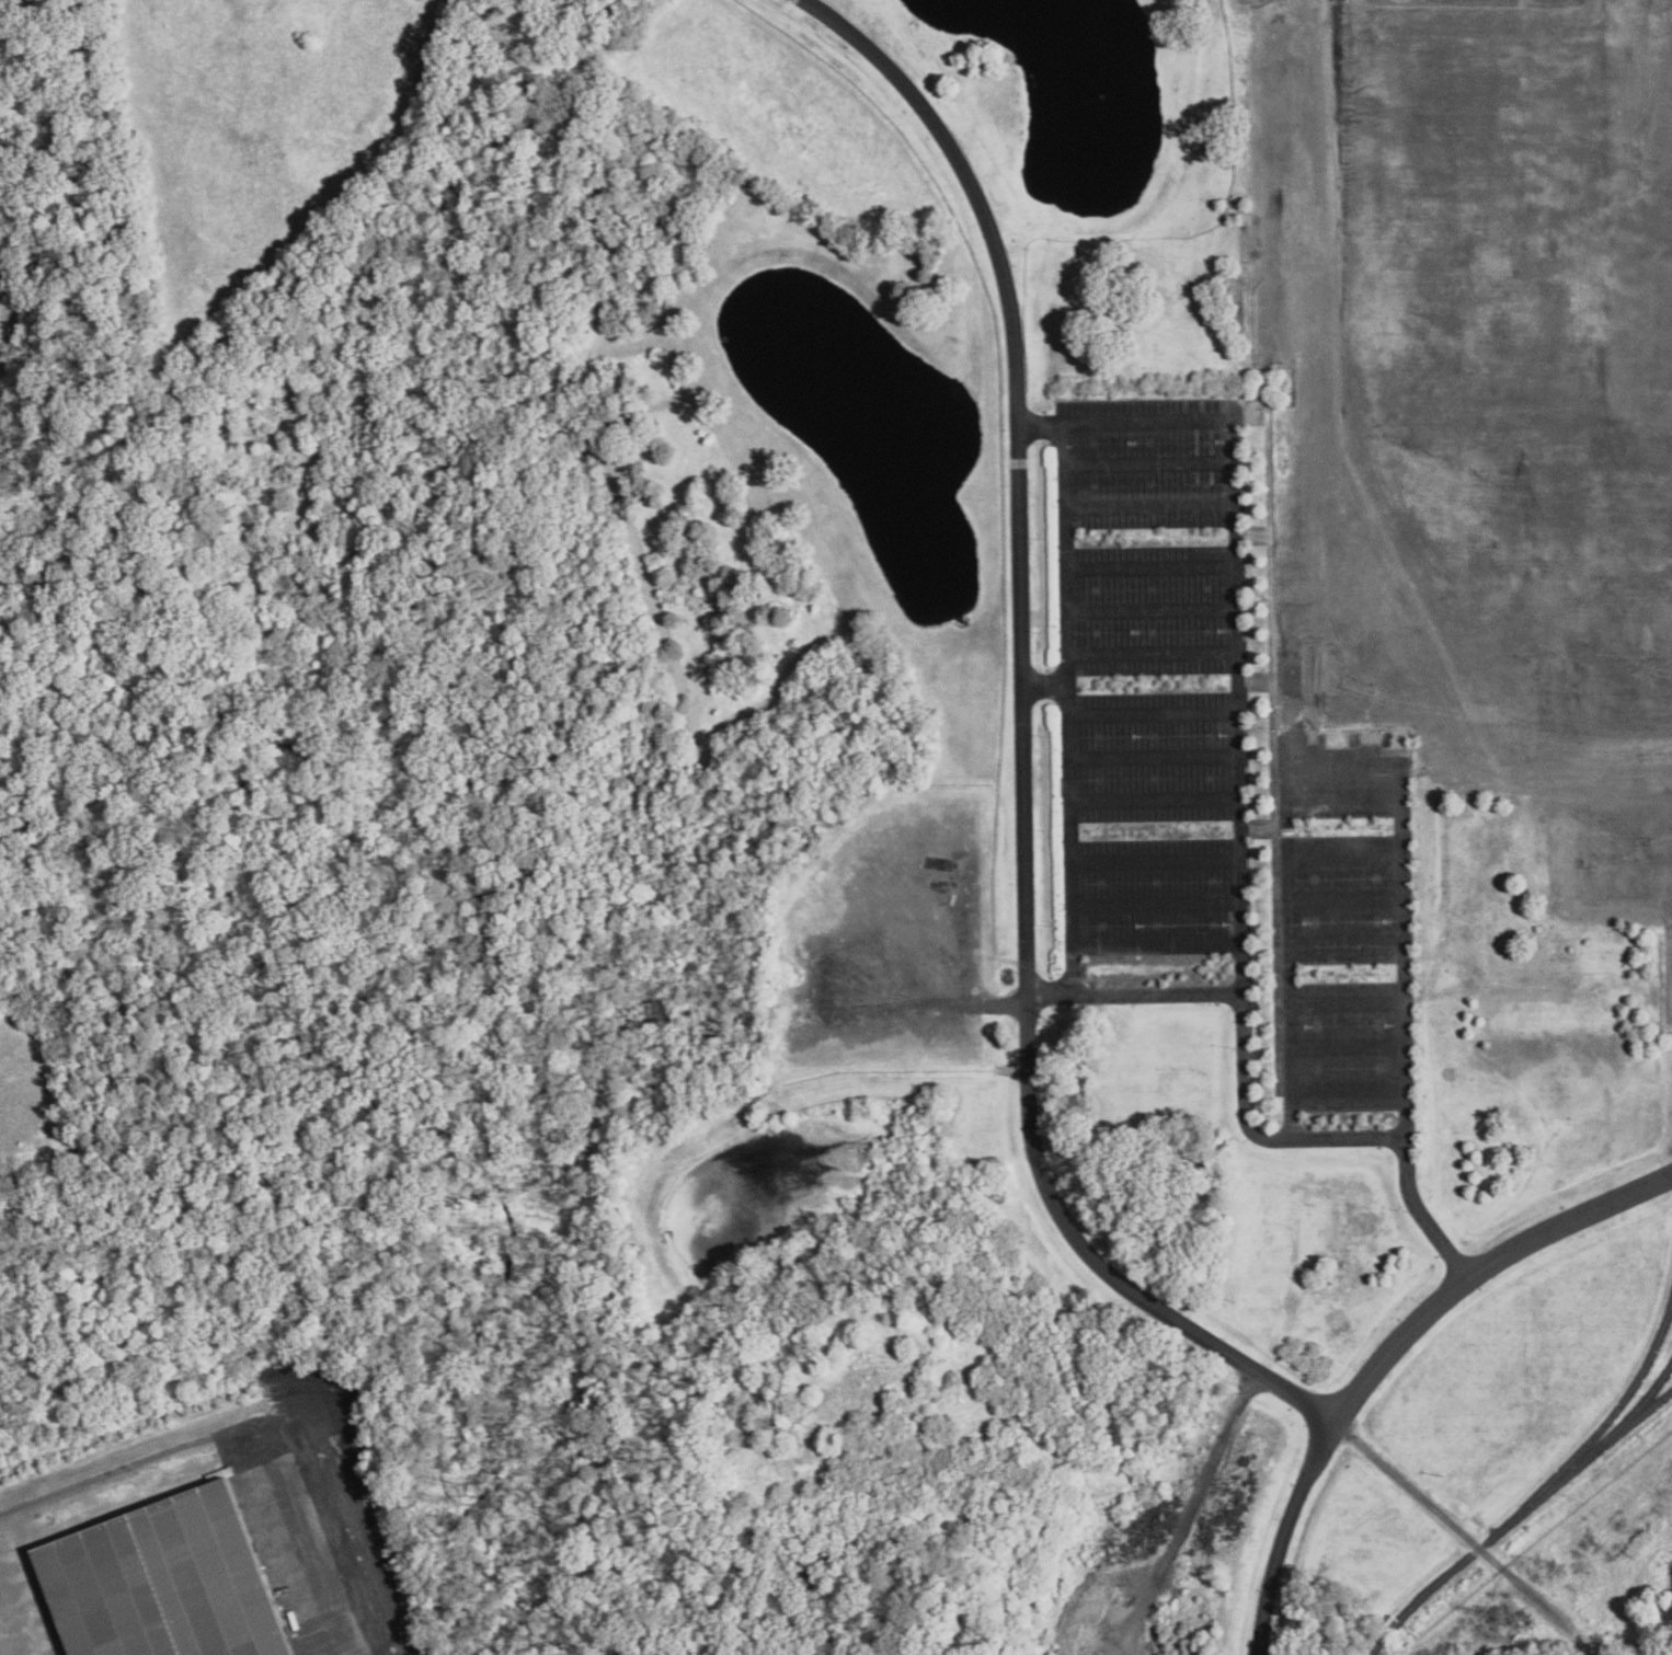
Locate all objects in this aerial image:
road: (1150, 461)
road: (1152, 506)
road: (1153, 565)
road: (1154, 609)
road: (1155, 653)
road: (1045, 687)
road: (1070, 708)
road: (1155, 715)
road: (1021, 745)
road: (1239, 746)
road: (1155, 756)
road: (1155, 801)
road: (1155, 859)
road: (1156, 903)
road: (1406, 924)
road: (1156, 947)
road: (1133, 995)
road: (1421, 1212)
road: (1387, 1349)
railway: (1634, 1411)
railway: (1606, 1420)
road: (352, 1497)
railway: (1516, 1517)
building: (167, 1581)
power tower: (1507, 1613)

